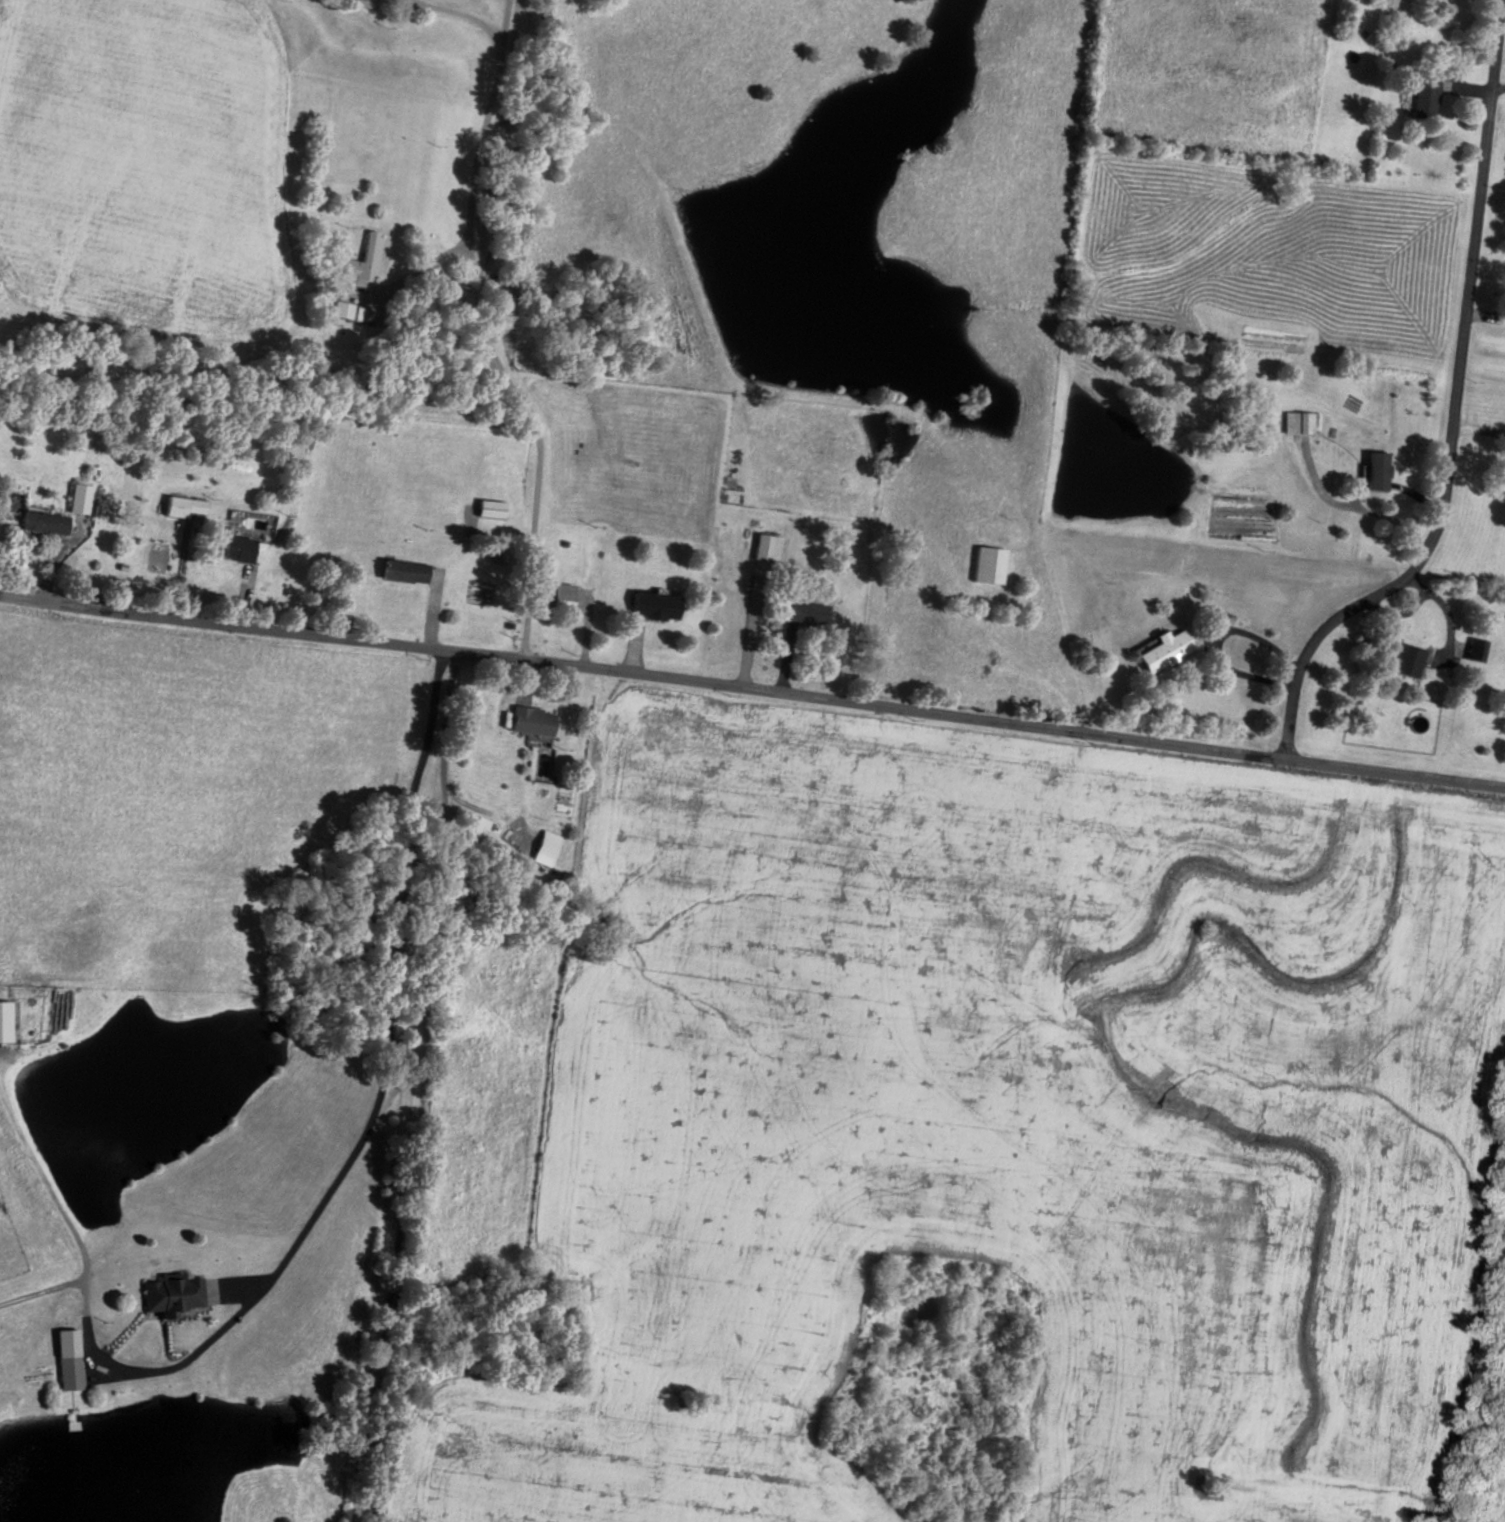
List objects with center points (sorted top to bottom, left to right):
building: (374, 0)
building: (1383, 3)
building: (1418, 94)
building: (367, 257)
building: (344, 308)
building: (1297, 421)
road: (1458, 429)
building: (1371, 470)
building: (1503, 484)
building: (81, 497)
building: (185, 505)
building: (496, 507)
building: (47, 521)
building: (241, 546)
building: (769, 546)
building: (985, 564)
building: (408, 569)
building: (566, 595)
building: (659, 604)
building: (811, 611)
building: (1471, 649)
building: (1161, 650)
building: (1400, 659)
building: (536, 721)
road: (751, 728)
building: (478, 825)
building: (547, 848)
building: (7, 1021)
road: (428, 1109)
building: (177, 1294)
building: (72, 1358)

